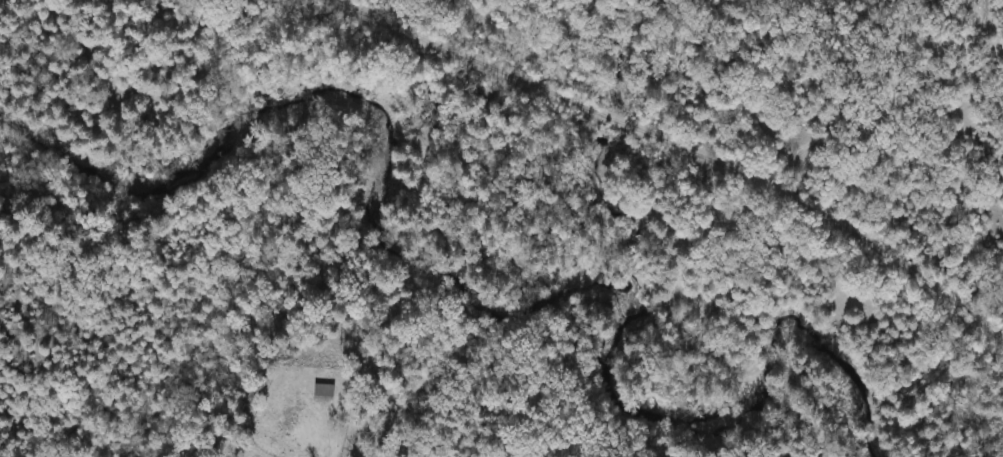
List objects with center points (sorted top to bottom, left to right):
building: (324, 391)

